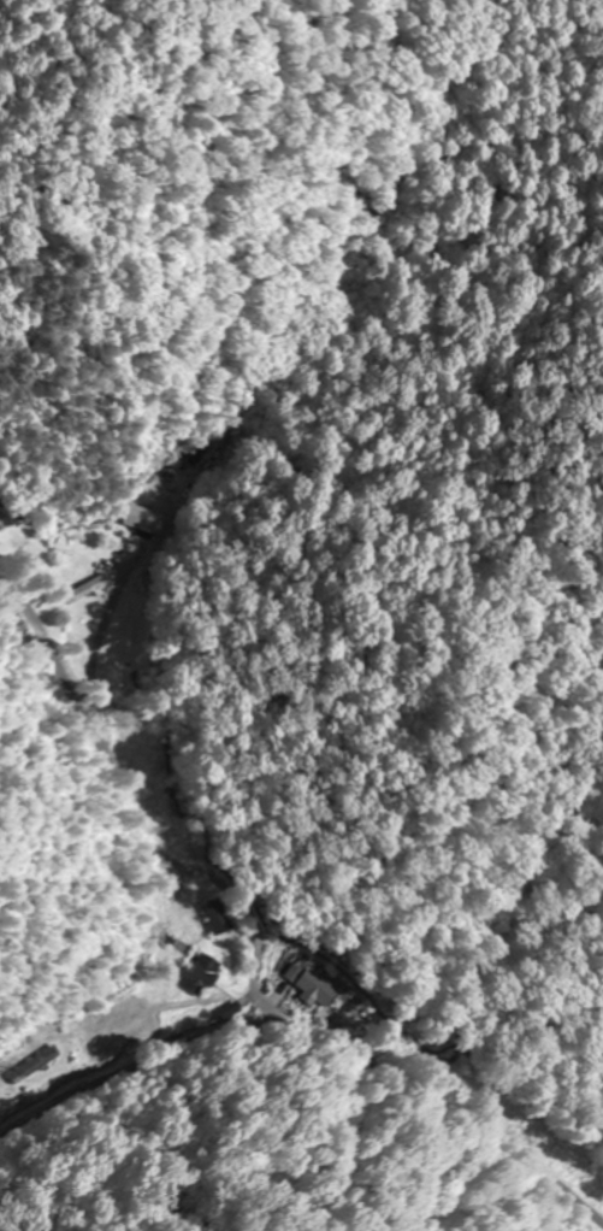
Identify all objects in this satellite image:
building: (143, 519)
building: (90, 589)
road: (138, 813)
building: (217, 917)
building: (201, 976)
building: (318, 984)
building: (34, 1066)
road: (433, 1096)

